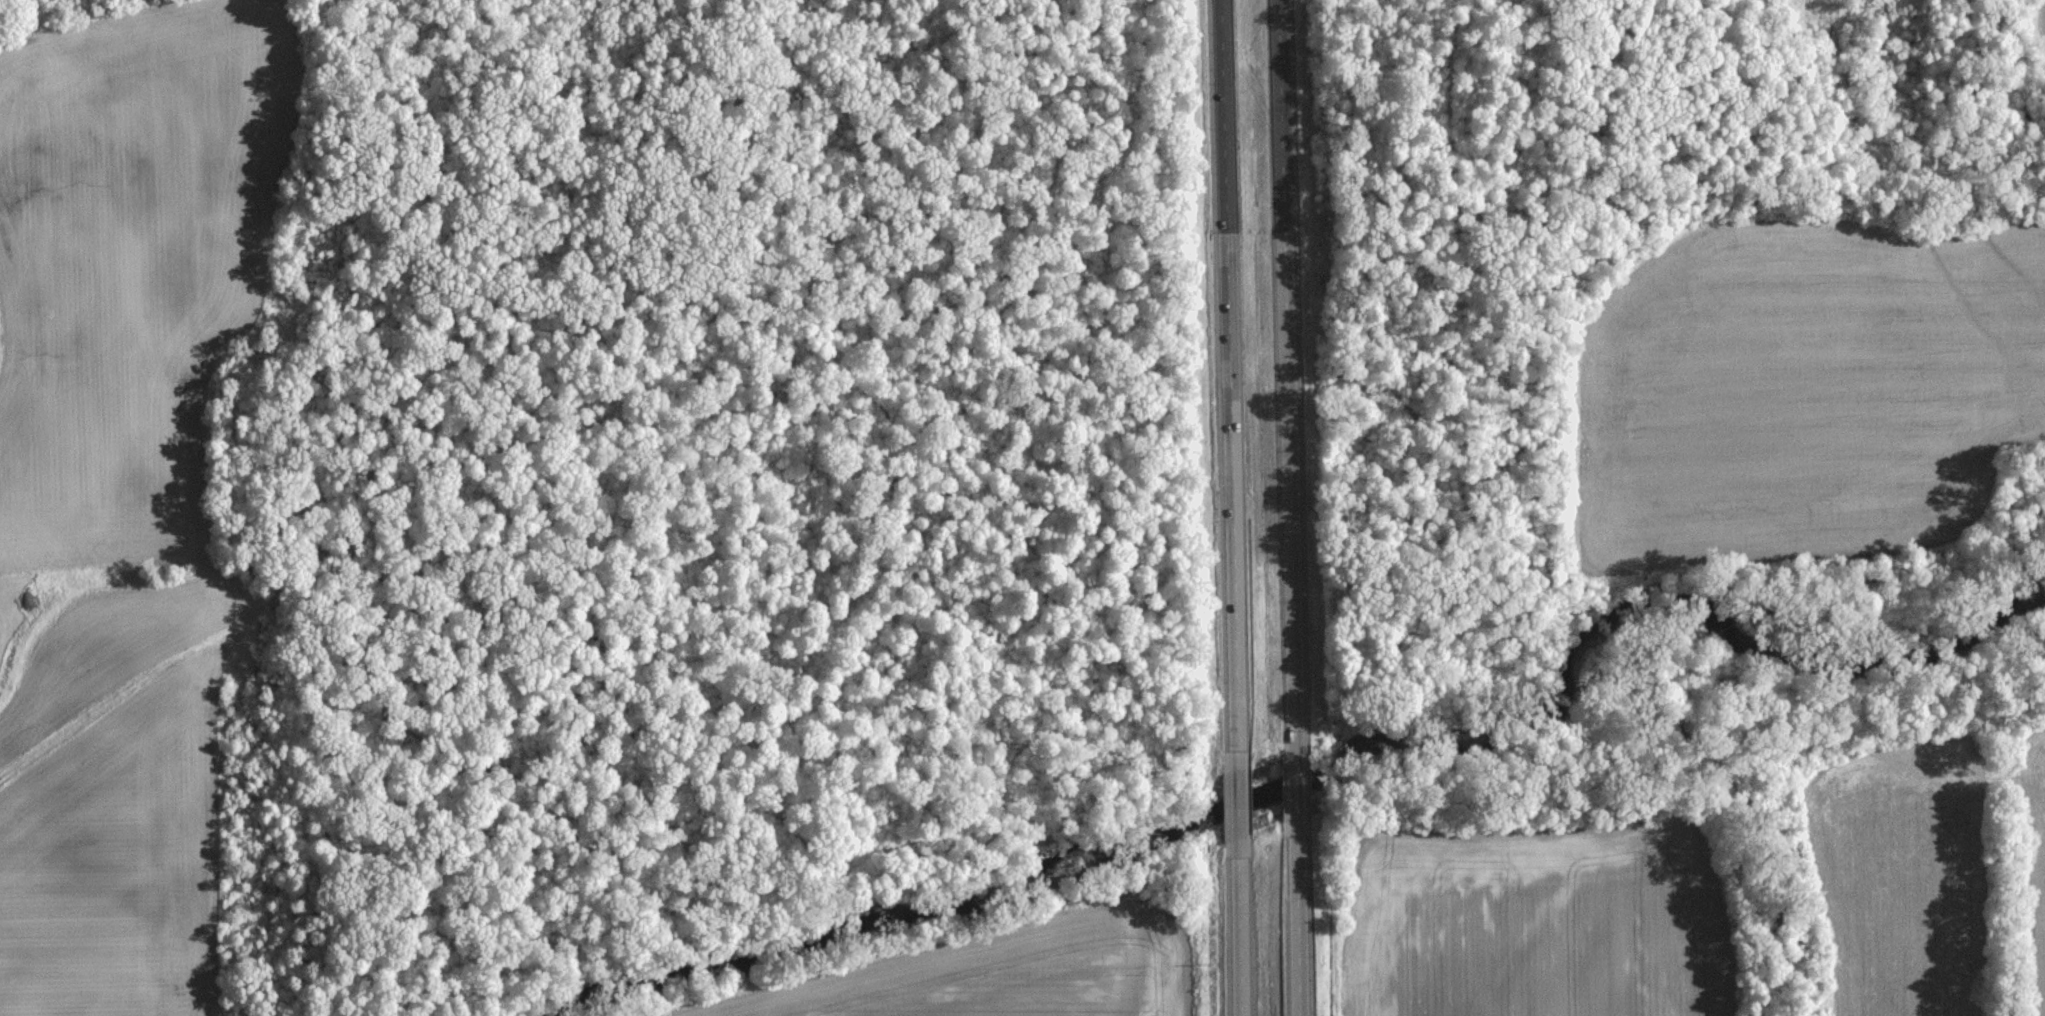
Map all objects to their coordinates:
road: (1286, 374)
road: (1228, 384)
road: (1296, 784)
road: (1238, 803)
road: (1297, 917)
road: (1239, 927)

